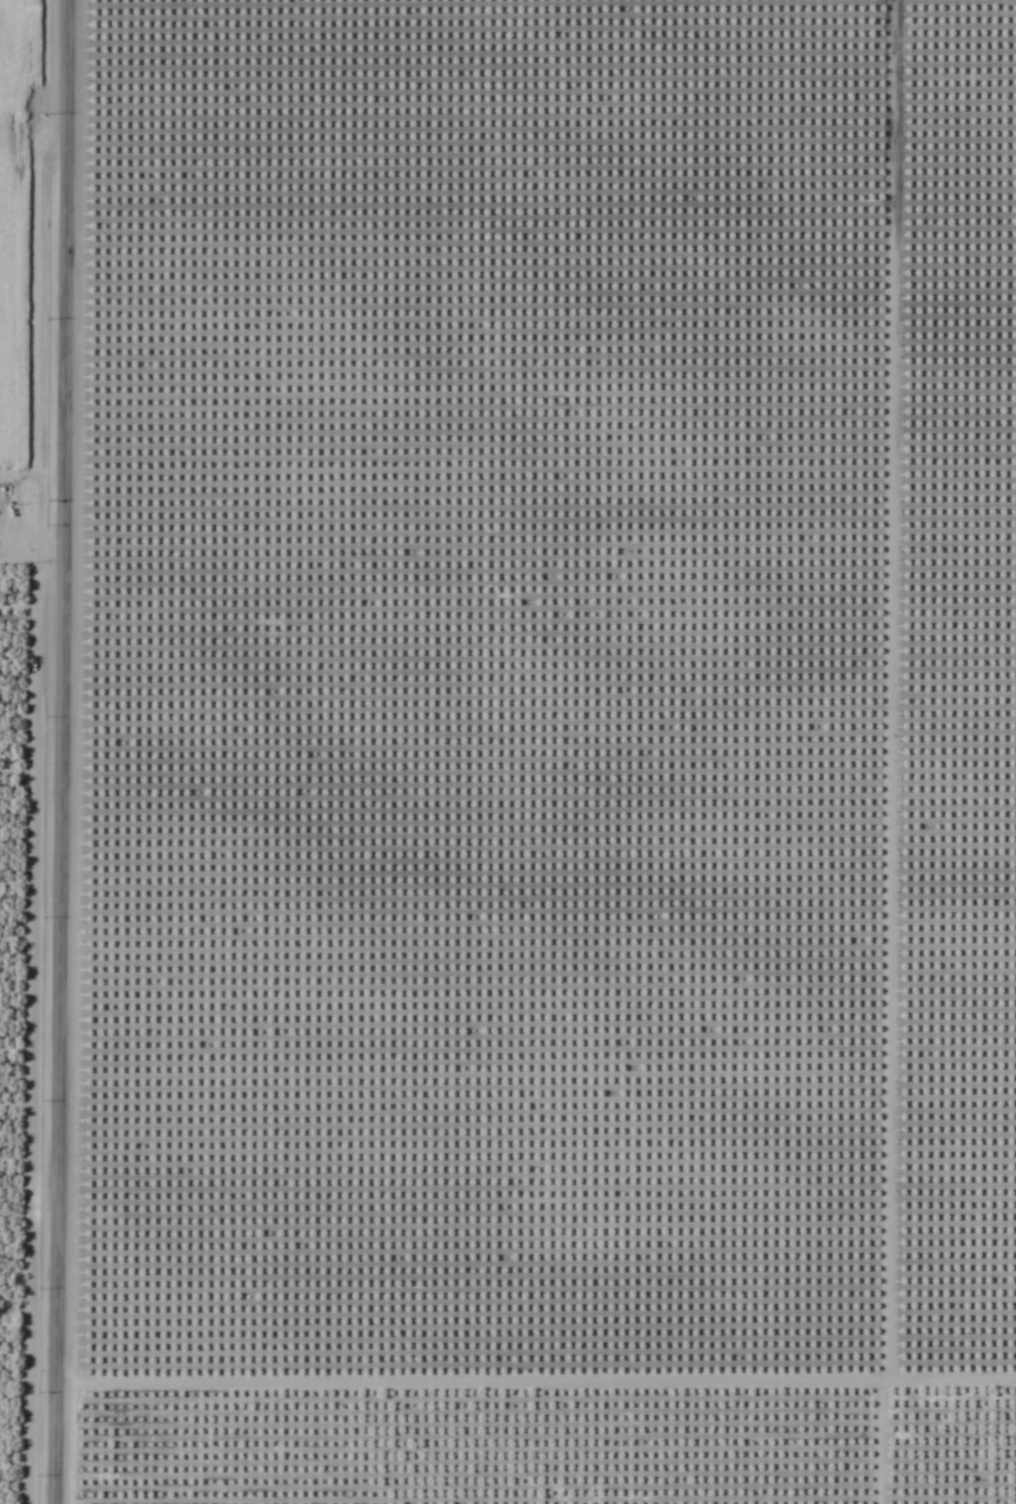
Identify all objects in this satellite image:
road: (30, 552)
road: (59, 752)

